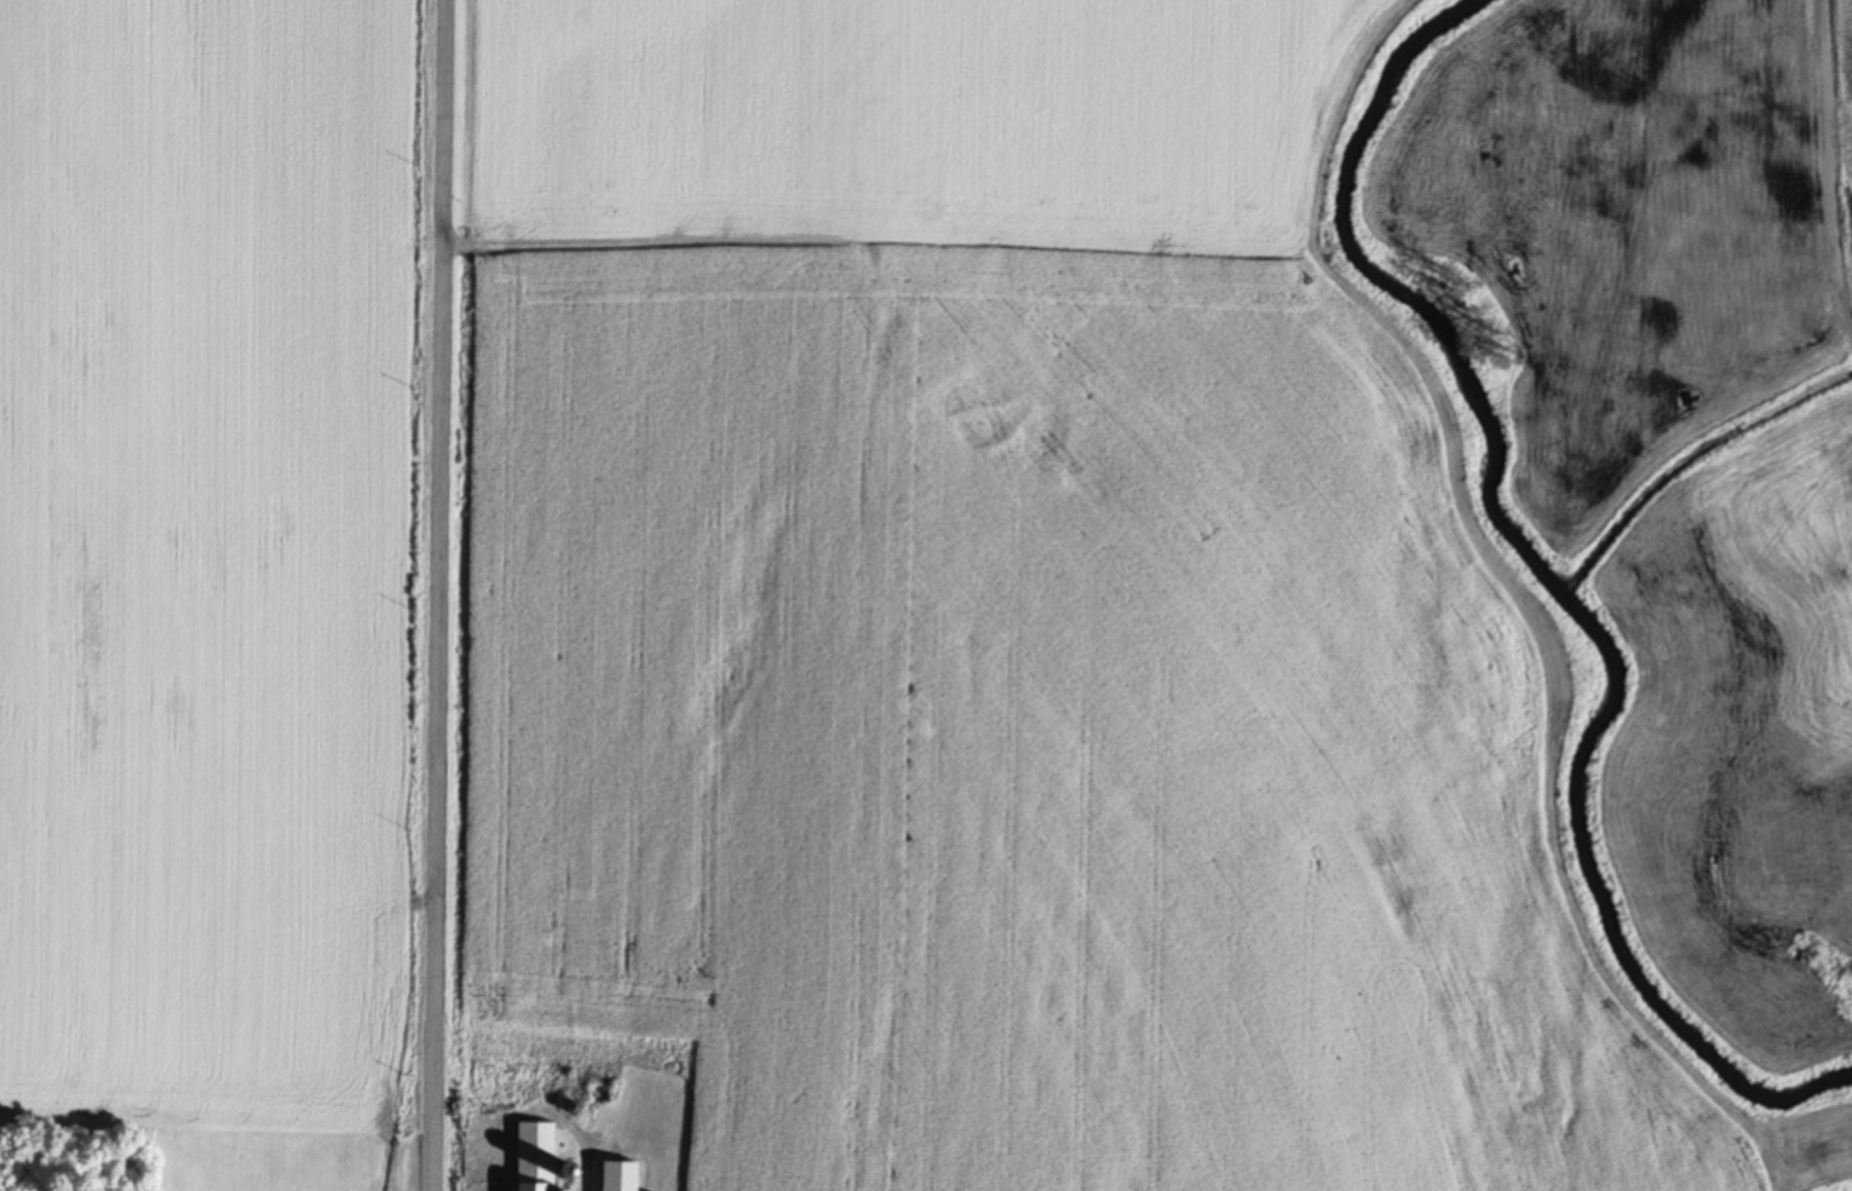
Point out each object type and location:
road: (441, 594)
building: (535, 1157)
building: (621, 1176)

